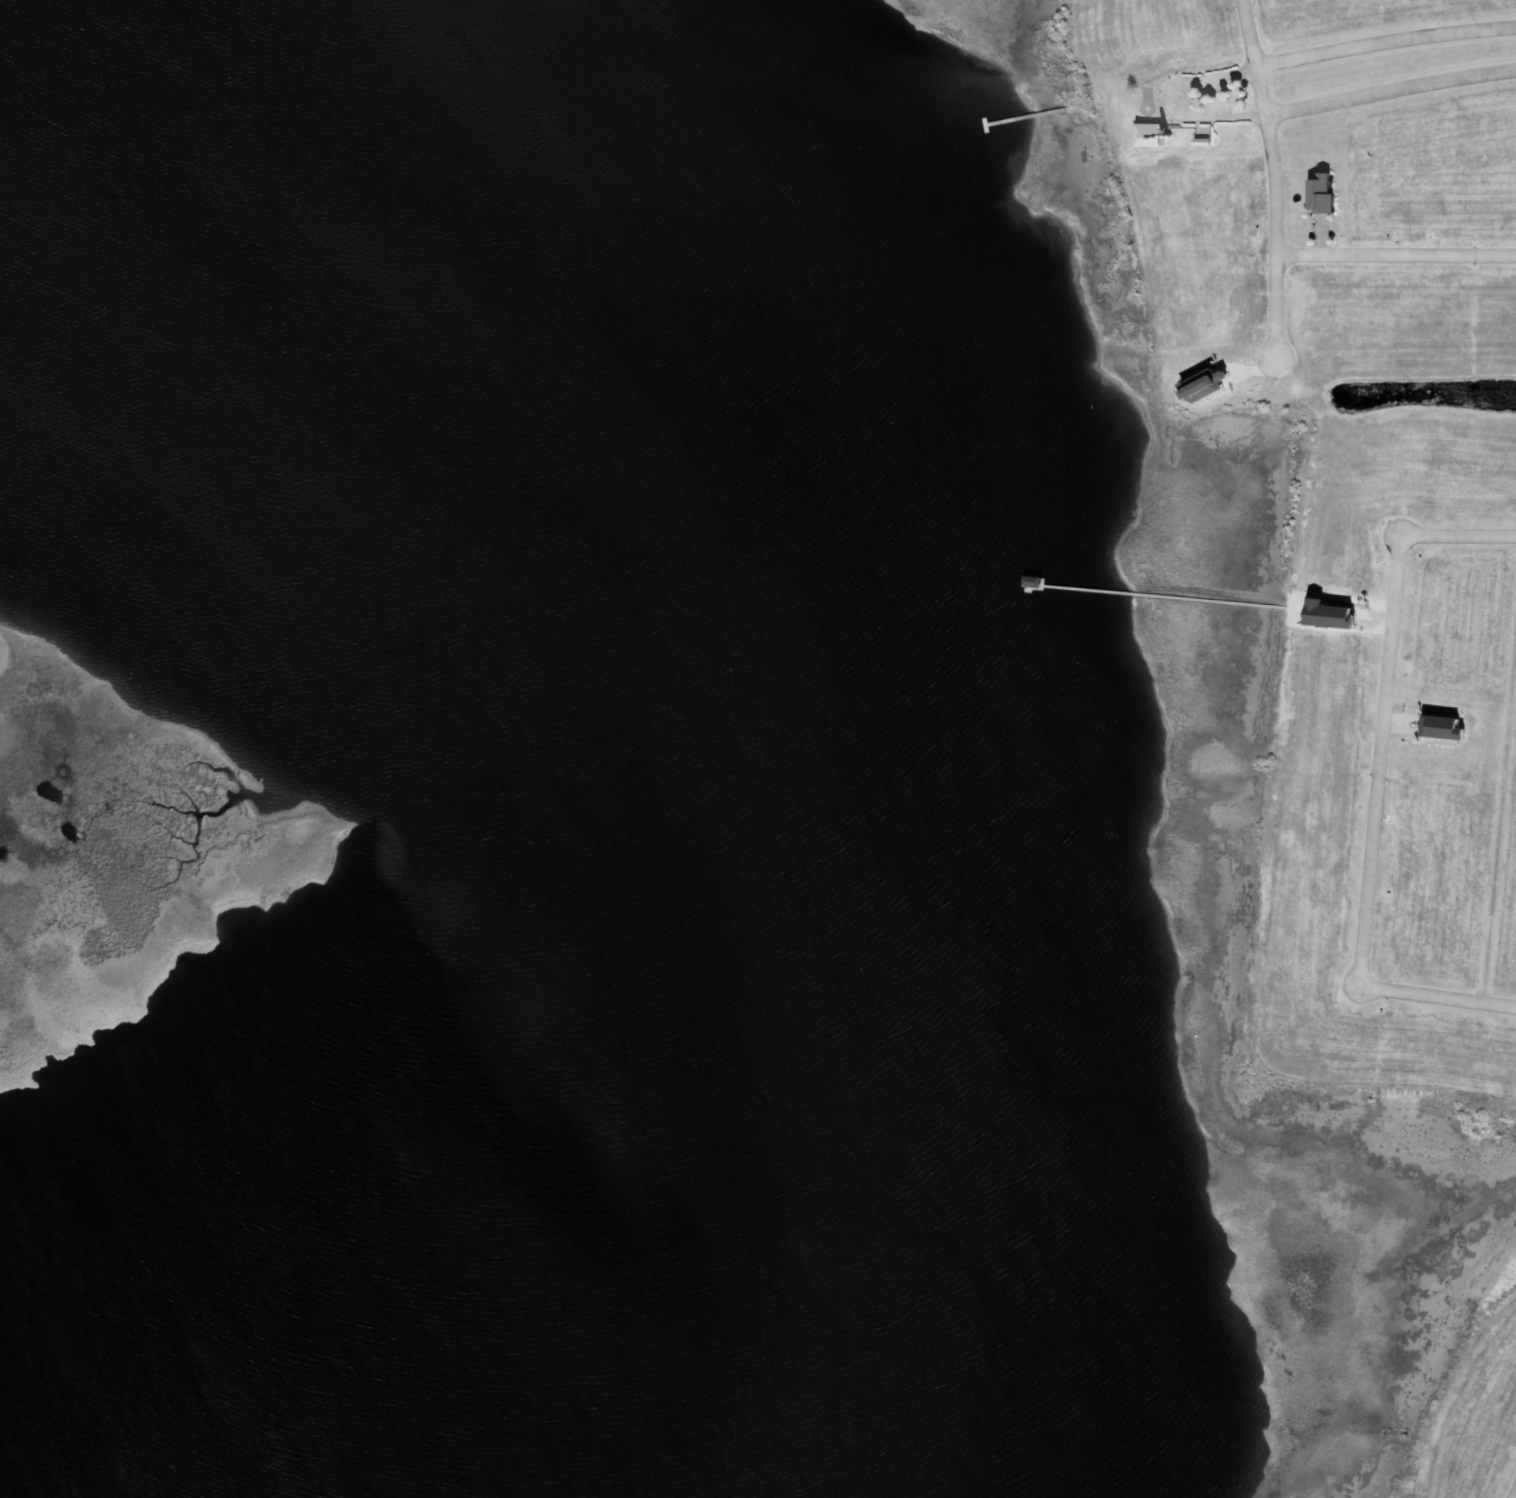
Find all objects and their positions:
road: (1384, 42)
road: (1389, 94)
building: (1146, 136)
road: (1275, 175)
building: (1318, 196)
road: (1395, 259)
building: (1199, 387)
road: (1457, 535)
building: (1325, 615)
building: (1438, 728)
road: (1378, 760)
road: (1500, 816)
road: (1436, 995)
road: (1515, 1496)

